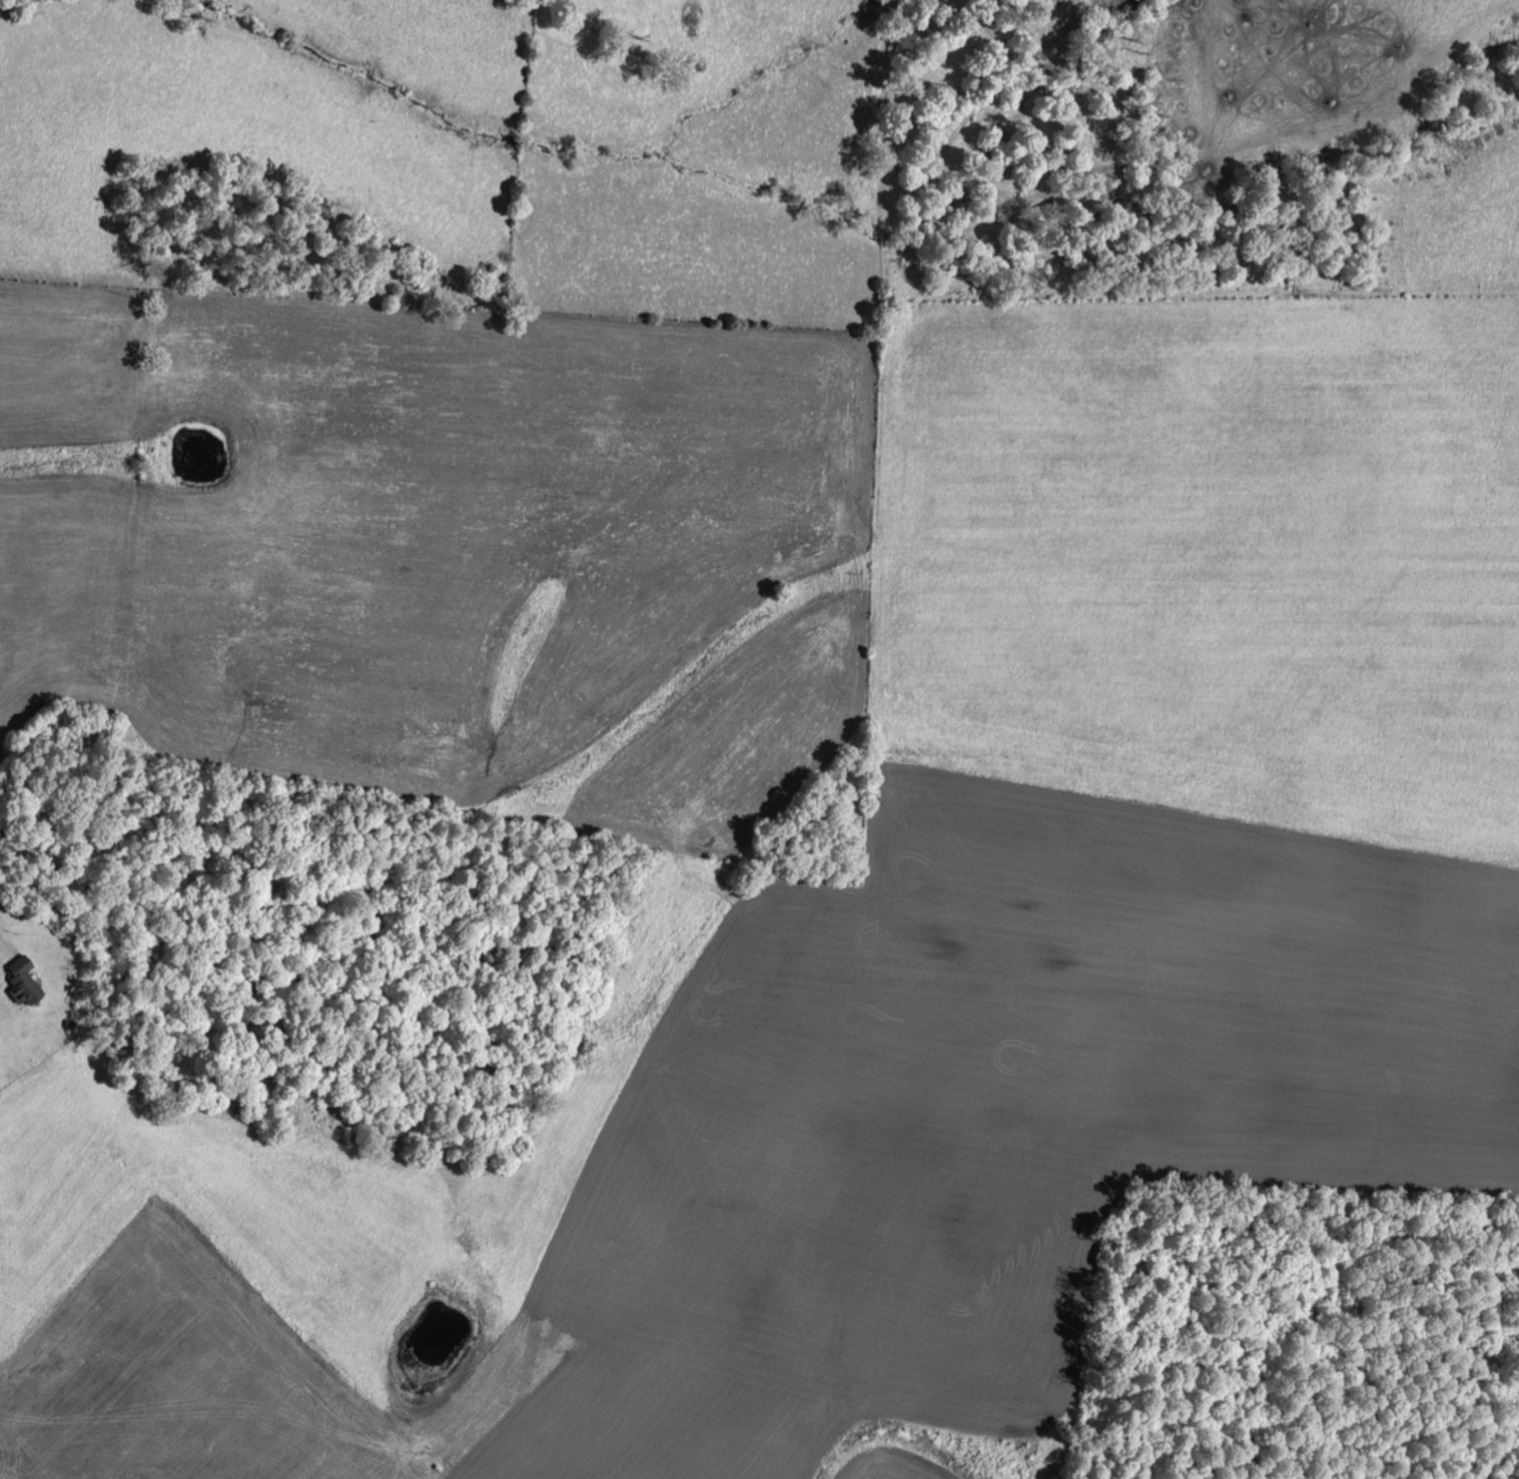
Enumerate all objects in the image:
road: (1, 939)
building: (21, 981)

